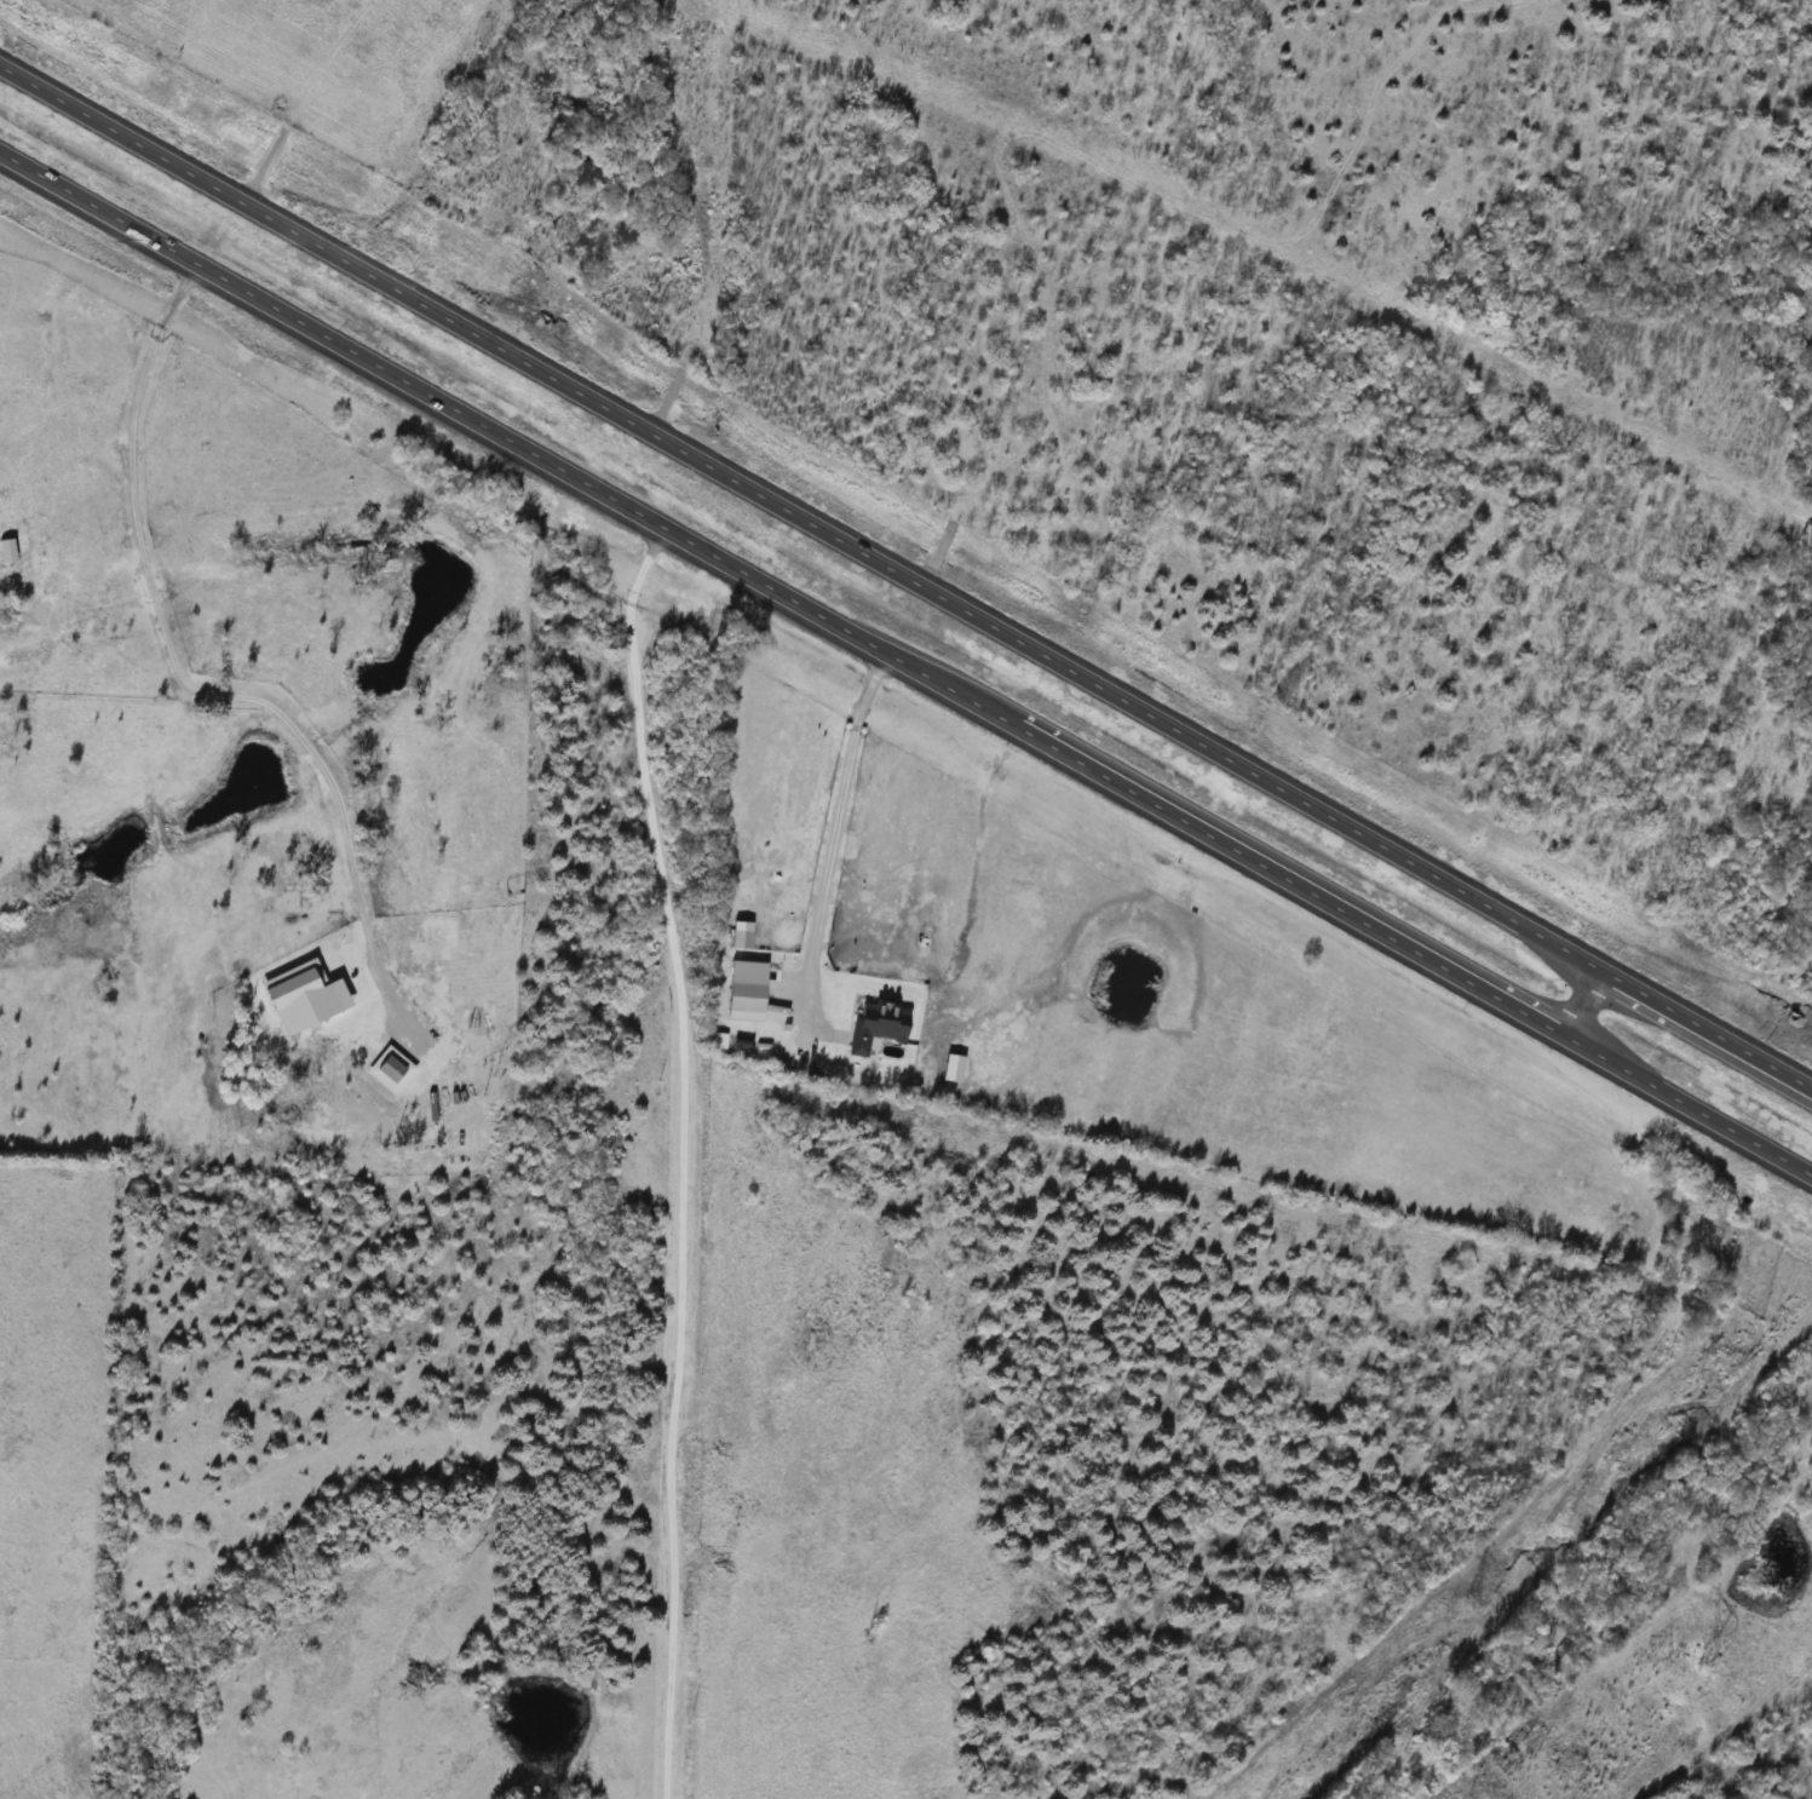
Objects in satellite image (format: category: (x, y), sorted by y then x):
road: (904, 574)
road: (905, 662)
road: (194, 688)
road: (835, 840)
building: (736, 939)
building: (740, 999)
road: (1589, 1001)
building: (869, 1028)
road: (669, 1155)
power tower: (1802, 1277)
power tower: (1448, 1604)
power tower: (1702, 1668)

